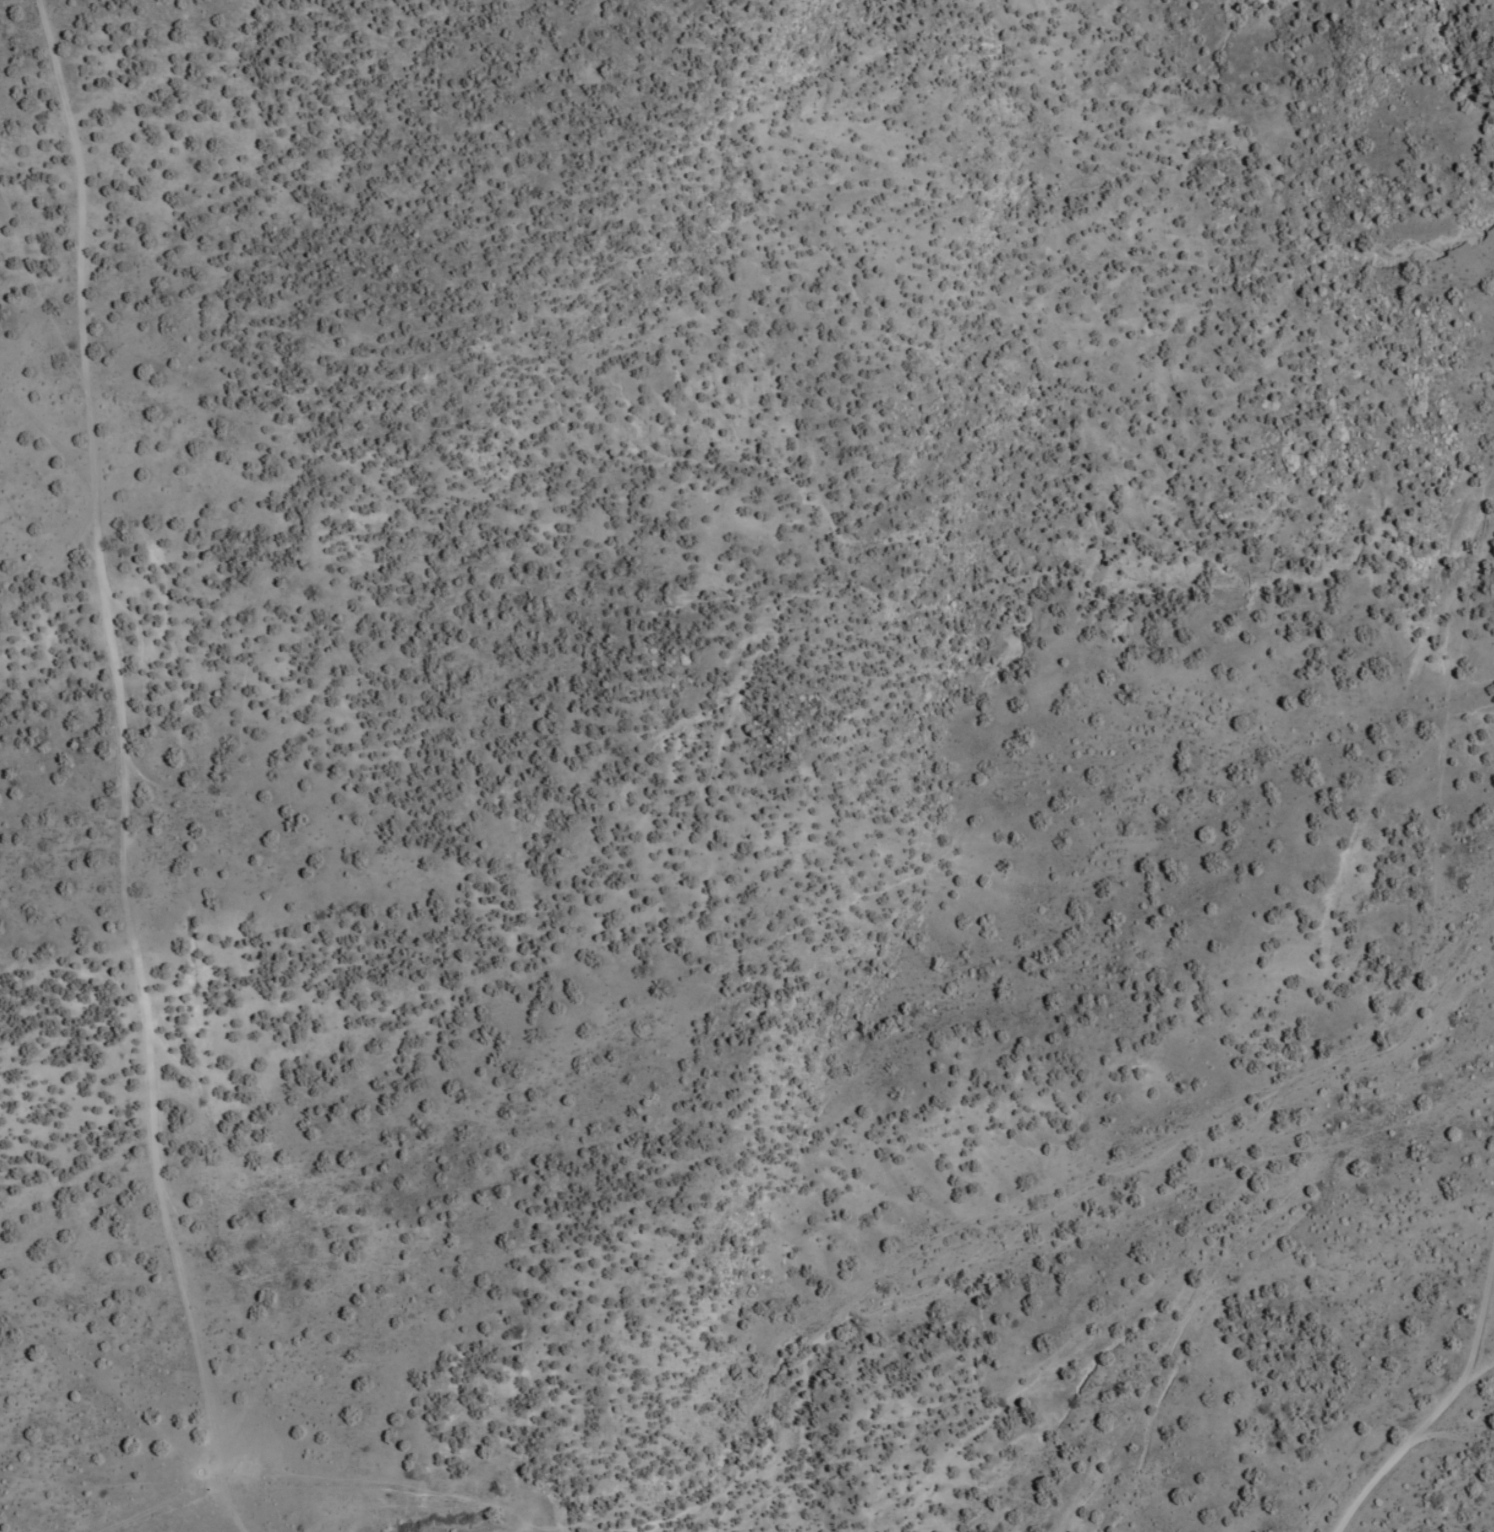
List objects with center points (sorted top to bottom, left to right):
road: (1429, 1437)

